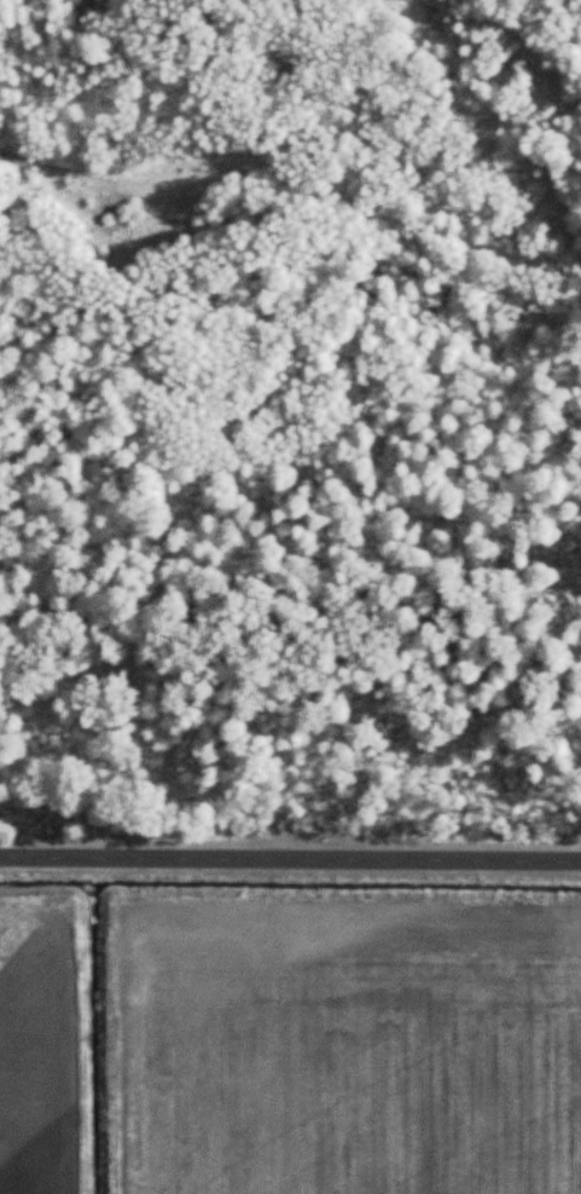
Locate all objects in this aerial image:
road: (290, 856)

